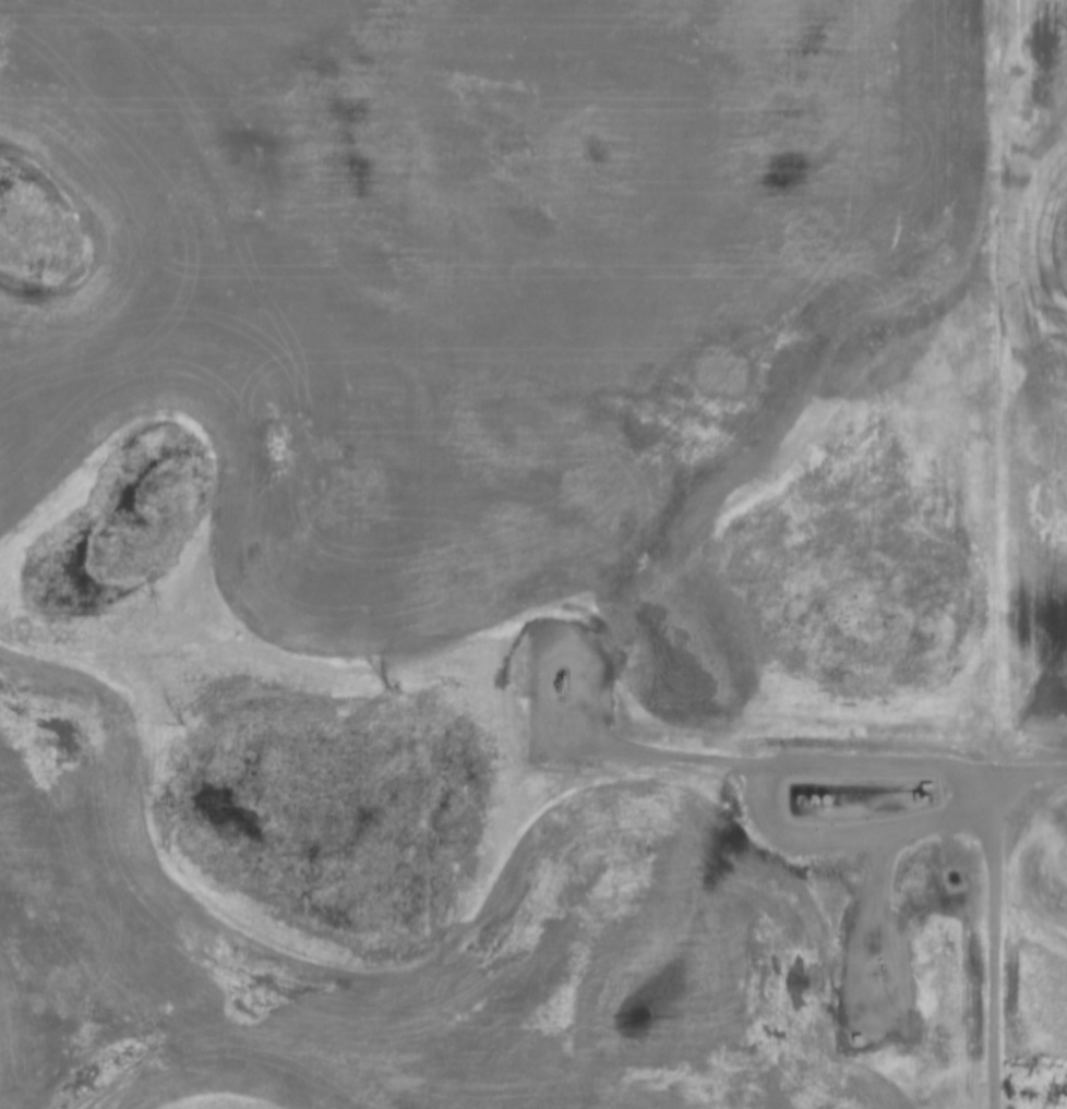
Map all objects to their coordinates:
road: (802, 760)
road: (875, 887)
road: (993, 939)

